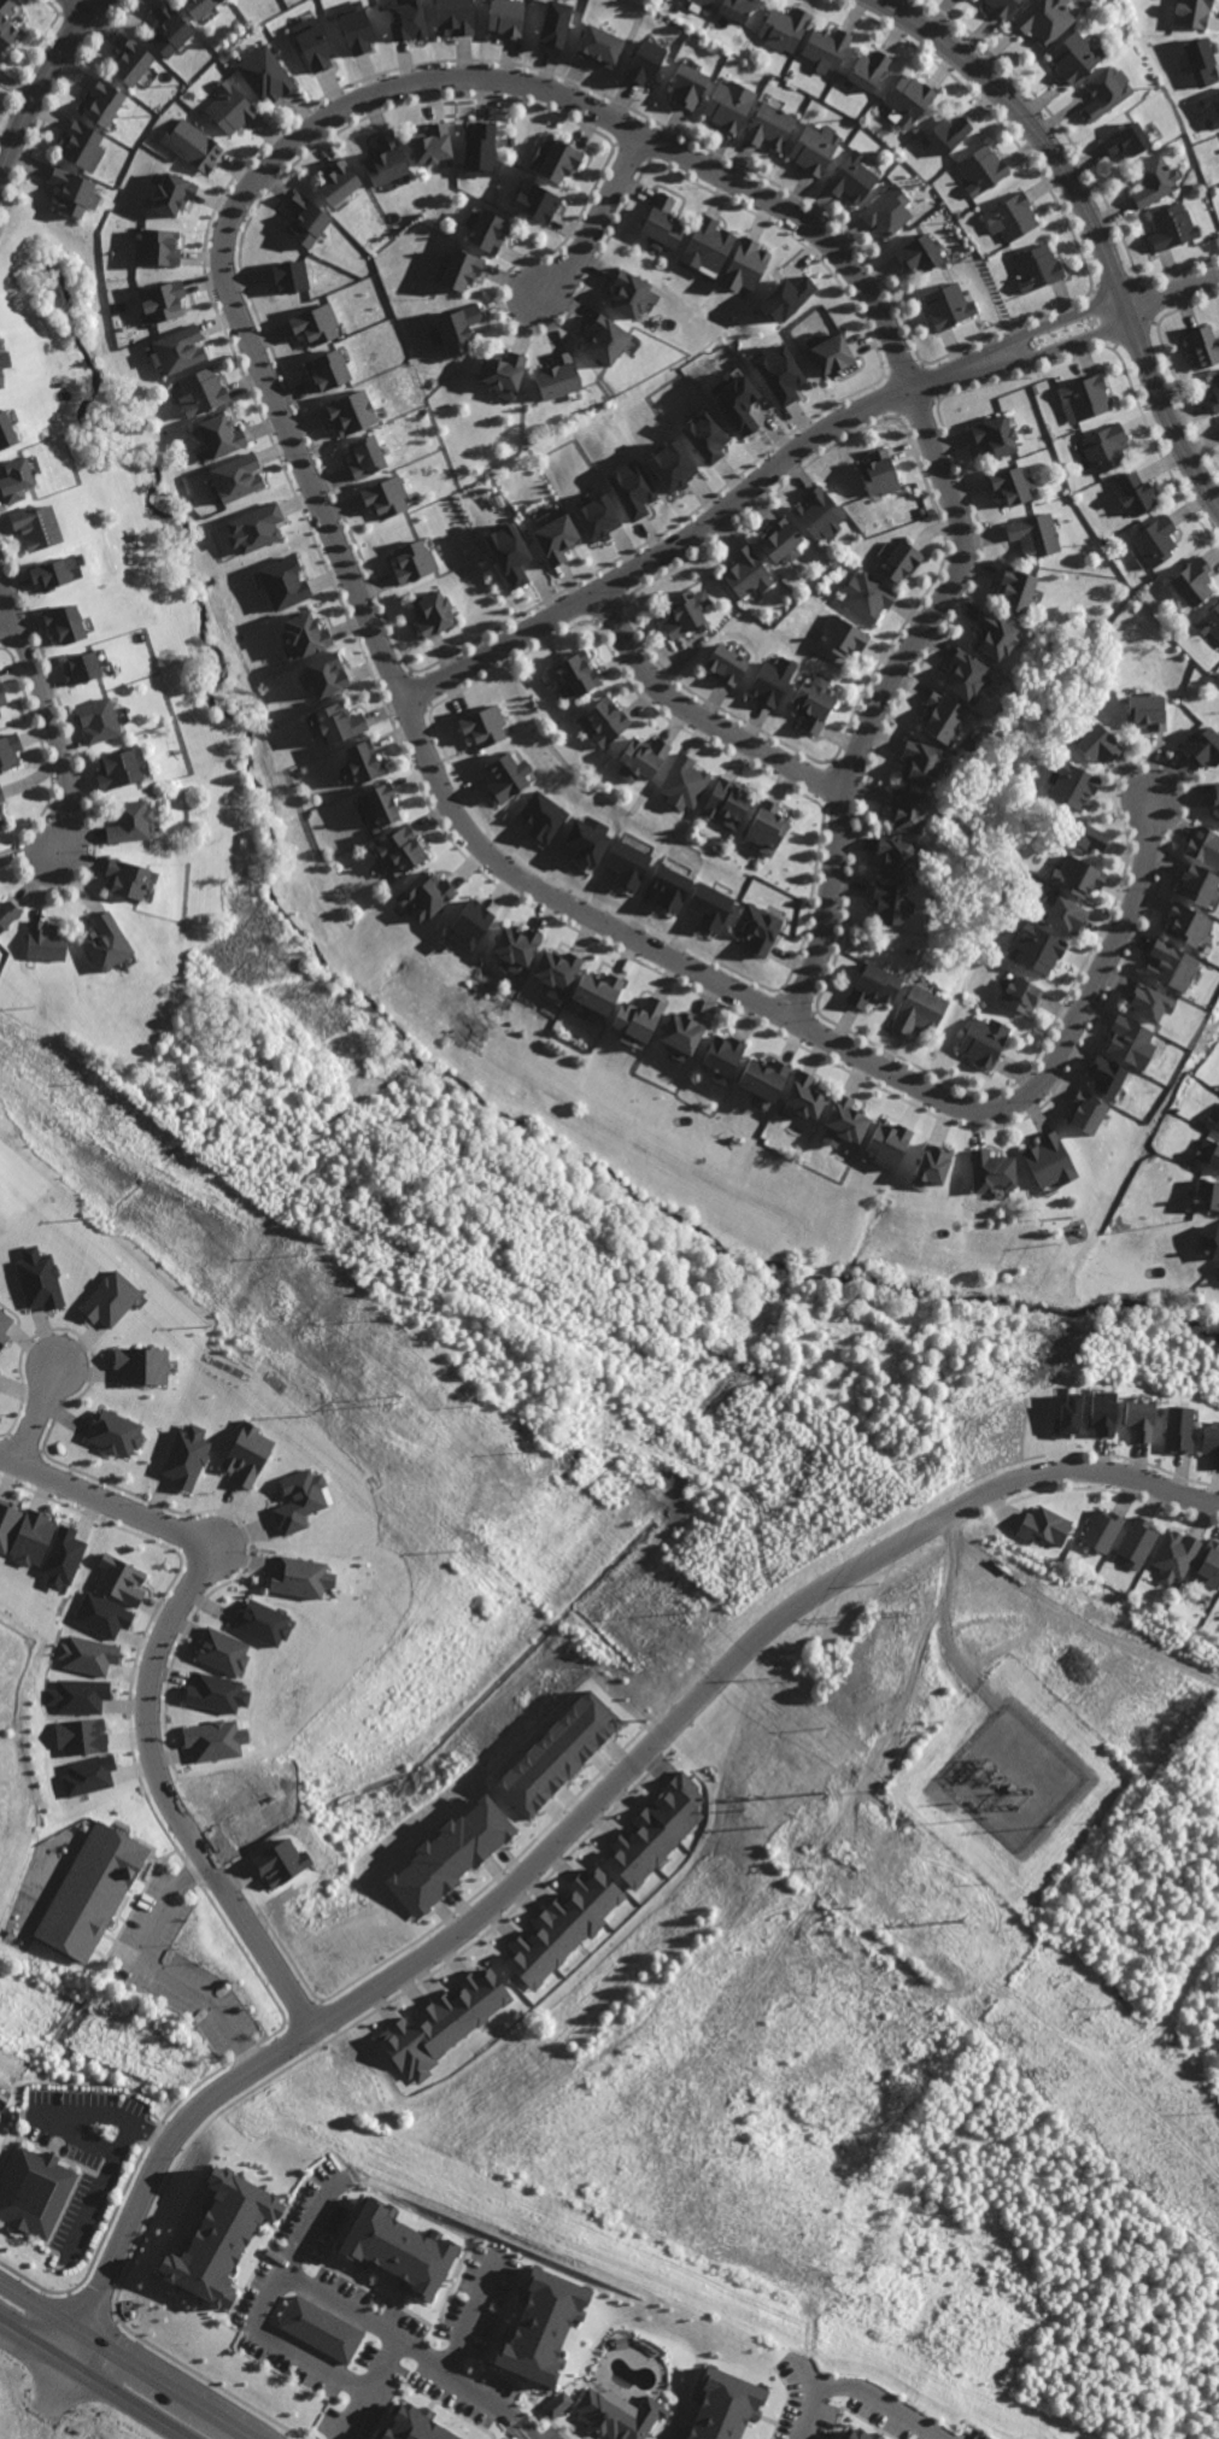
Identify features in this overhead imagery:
building: (697, 5)
road: (96, 6)
building: (198, 6)
building: (1001, 6)
building: (733, 8)
building: (1190, 12)
building: (452, 14)
building: (505, 18)
building: (406, 19)
building: (1043, 19)
building: (555, 23)
building: (5, 24)
building: (356, 28)
building: (781, 28)
building: (168, 30)
building: (315, 45)
building: (599, 46)
building: (824, 48)
building: (1072, 57)
building: (1201, 57)
building: (130, 63)
building: (644, 63)
building: (867, 70)
building: (265, 71)
road: (427, 76)
building: (688, 82)
building: (1102, 90)
road: (48, 96)
building: (908, 99)
building: (101, 104)
building: (727, 105)
building: (229, 109)
building: (1209, 110)
building: (767, 125)
building: (947, 134)
building: (479, 139)
building: (1125, 141)
building: (192, 142)
building: (430, 145)
building: (77, 146)
building: (811, 149)
building: (386, 162)
building: (561, 163)
building: (980, 170)
building: (851, 177)
building: (1153, 181)
building: (338, 182)
building: (71, 193)
building: (172, 193)
building: (538, 200)
building: (887, 210)
building: (1010, 217)
building: (305, 221)
road: (596, 222)
road: (1092, 222)
building: (658, 223)
building: (1172, 227)
building: (490, 229)
building: (158, 245)
building: (703, 247)
building: (919, 254)
building: (744, 265)
building: (1036, 269)
building: (461, 272)
building: (291, 276)
road: (1173, 289)
building: (632, 292)
building: (790, 297)
building: (169, 298)
building: (948, 307)
road: (1062, 318)
building: (315, 321)
building: (458, 332)
building: (611, 336)
road: (1071, 342)
building: (180, 346)
building: (1202, 347)
building: (828, 357)
building: (332, 369)
building: (503, 373)
building: (779, 373)
building: (0, 374)
building: (557, 377)
building: (0, 385)
building: (201, 389)
building: (1085, 397)
building: (1214, 397)
building: (735, 400)
building: (350, 409)
building: (5, 429)
building: (222, 433)
building: (995, 434)
building: (704, 435)
building: (1104, 446)
building: (368, 456)
building: (672, 467)
building: (879, 470)
building: (236, 477)
building: (14, 479)
building: (1009, 482)
building: (632, 488)
building: (1135, 491)
building: (388, 494)
building: (819, 511)
building: (597, 518)
road: (707, 524)
building: (37, 526)
building: (254, 528)
building: (1033, 533)
building: (779, 538)
building: (556, 539)
building: (1156, 540)
building: (508, 553)
building: (901, 559)
building: (414, 561)
building: (745, 569)
building: (52, 573)
building: (1194, 580)
building: (283, 584)
building: (1015, 587)
building: (867, 593)
building: (684, 609)
building: (433, 611)
building: (65, 622)
building: (1209, 622)
building: (313, 629)
road: (10, 631)
building: (842, 635)
building: (994, 635)
building: (726, 661)
building: (81, 667)
building: (579, 673)
building: (326, 674)
building: (972, 675)
building: (773, 679)
building: (2, 696)
building: (813, 702)
road: (47, 708)
building: (1148, 708)
building: (942, 716)
road: (699, 717)
building: (98, 720)
building: (606, 721)
building: (339, 722)
building: (486, 722)
building: (1097, 743)
building: (1202, 746)
building: (10, 750)
building: (643, 757)
building: (362, 762)
building: (920, 762)
building: (118, 769)
building: (508, 776)
building: (684, 782)
building: (1074, 785)
building: (1214, 793)
building: (1, 795)
building: (727, 802)
building: (380, 804)
building: (908, 809)
building: (1, 815)
building: (543, 817)
building: (130, 821)
building: (767, 827)
building: (1083, 837)
building: (586, 843)
building: (1203, 843)
building: (400, 848)
building: (896, 857)
building: (627, 863)
building: (1078, 876)
building: (127, 878)
building: (1202, 883)
building: (669, 887)
building: (423, 895)
building: (891, 903)
building: (709, 905)
building: (7, 913)
building: (1067, 914)
building: (470, 924)
building: (755, 925)
building: (1188, 925)
building: (46, 940)
building: (106, 942)
building: (517, 945)
building: (1041, 948)
building: (1171, 962)
building: (559, 966)
building: (875, 985)
building: (597, 991)
building: (1024, 995)
building: (1151, 999)
building: (921, 1009)
building: (638, 1019)
building: (686, 1033)
building: (1131, 1037)
building: (985, 1039)
building: (721, 1059)
road: (1050, 1067)
building: (1109, 1075)
building: (764, 1078)
building: (805, 1096)
building: (1086, 1113)
building: (848, 1118)
building: (1213, 1121)
building: (887, 1143)
building: (1209, 1153)
building: (1051, 1160)
building: (933, 1163)
building: (994, 1166)
building: (1208, 1196)
building: (1209, 1241)
building: (39, 1279)
building: (110, 1300)
building: (4, 1326)
building: (141, 1365)
power tower: (387, 1400)
building: (1098, 1409)
road: (37, 1412)
building: (1067, 1417)
building: (1136, 1417)
building: (1176, 1427)
building: (115, 1434)
building: (1209, 1441)
building: (247, 1454)
building: (186, 1458)
building: (299, 1500)
building: (7, 1524)
building: (1042, 1524)
building: (1100, 1529)
building: (33, 1538)
building: (1137, 1541)
building: (1173, 1554)
building: (61, 1558)
building: (1208, 1563)
building: (300, 1577)
building: (121, 1579)
road: (949, 1600)
power tower: (907, 1613)
building: (102, 1616)
road: (1079, 1618)
building: (263, 1623)
building: (222, 1651)
building: (88, 1655)
road: (146, 1690)
building: (216, 1693)
building: (78, 1695)
building: (81, 1736)
building: (213, 1740)
building: (557, 1753)
building: (88, 1775)
power substation: (1016, 1776)
power tower: (824, 1793)
road: (576, 1819)
building: (657, 1830)
building: (451, 1854)
road: (839, 1862)
building: (280, 1863)
building: (90, 1894)
power tower: (943, 1922)
building: (564, 1927)
road: (154, 1972)
road: (1033, 2005)
building: (445, 2023)
building: (34, 2192)
road: (310, 2224)
building: (221, 2236)
building: (398, 2249)
road: (638, 2274)
road: (295, 2275)
road: (469, 2318)
building: (543, 2326)
building: (322, 2329)
road: (128, 2358)
road: (95, 2380)
road: (861, 2384)
building: (557, 2404)
building: (723, 2406)
road: (350, 2411)
building: (619, 2414)
building: (415, 2425)
road: (524, 2431)
building: (858, 2434)

